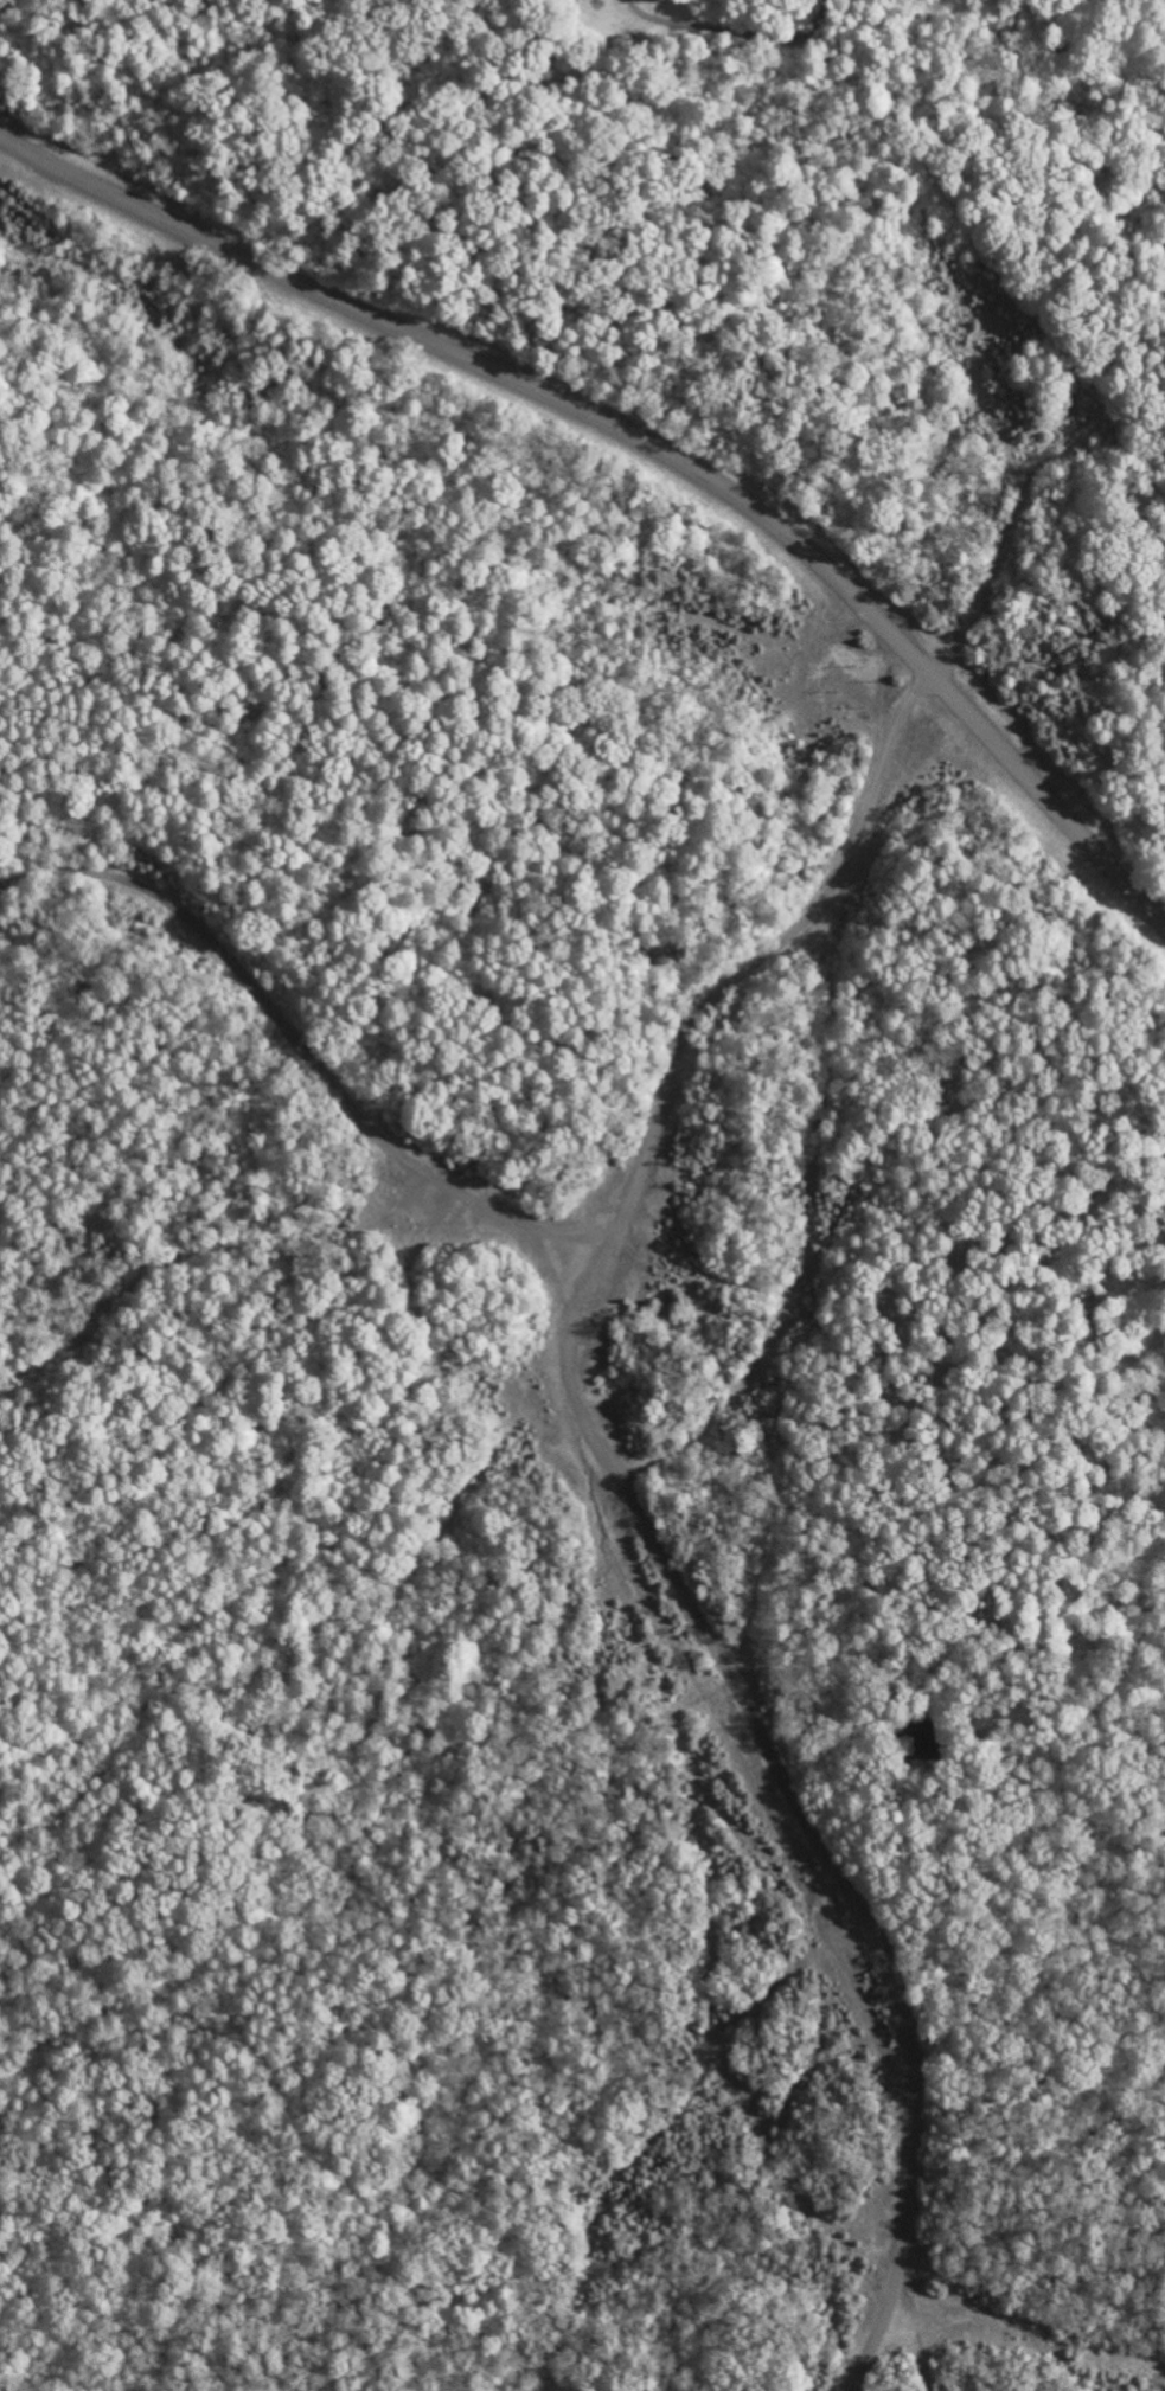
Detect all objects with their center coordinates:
road: (645, 442)
road: (561, 1241)

